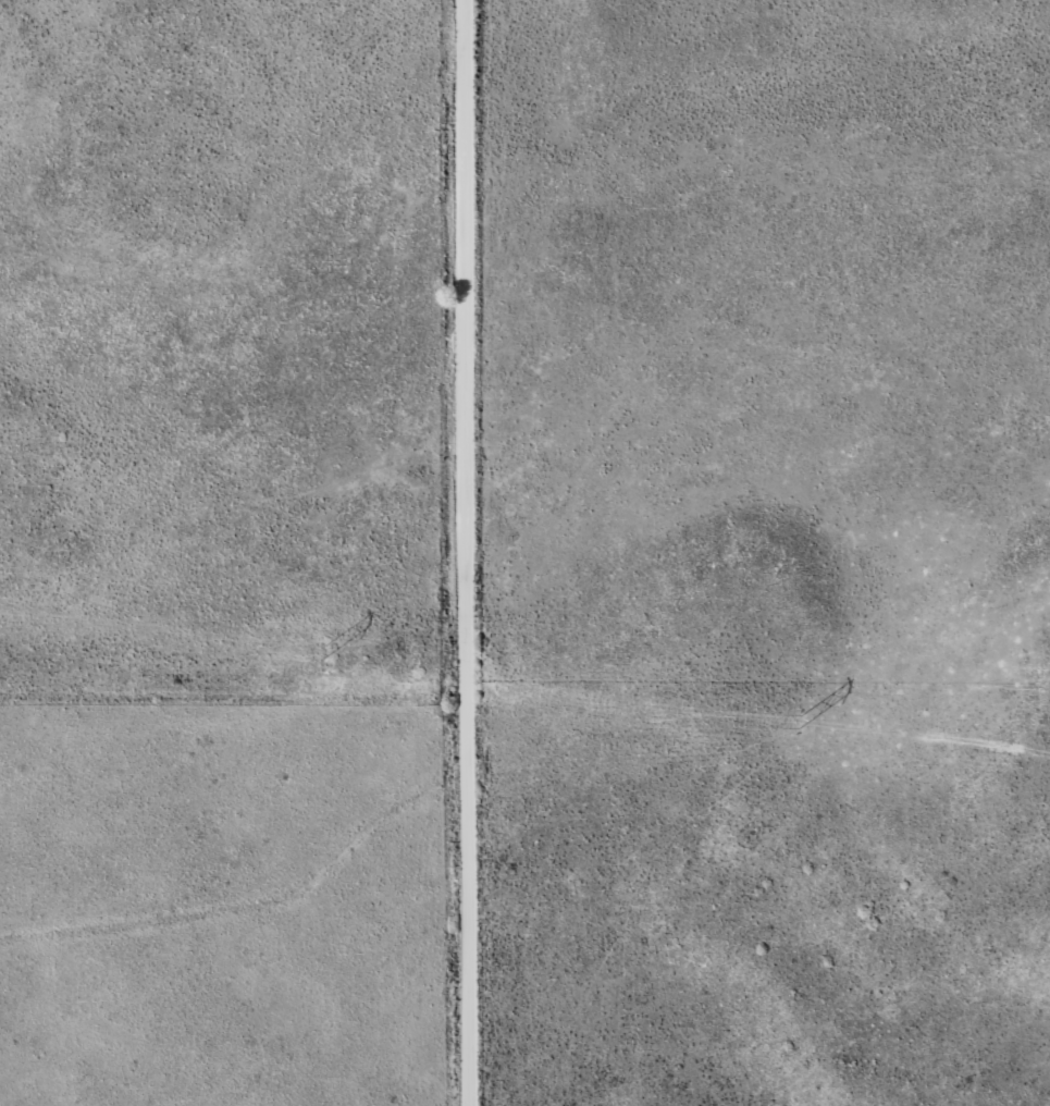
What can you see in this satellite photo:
road: (466, 552)
power tower: (323, 649)
power tower: (798, 721)

